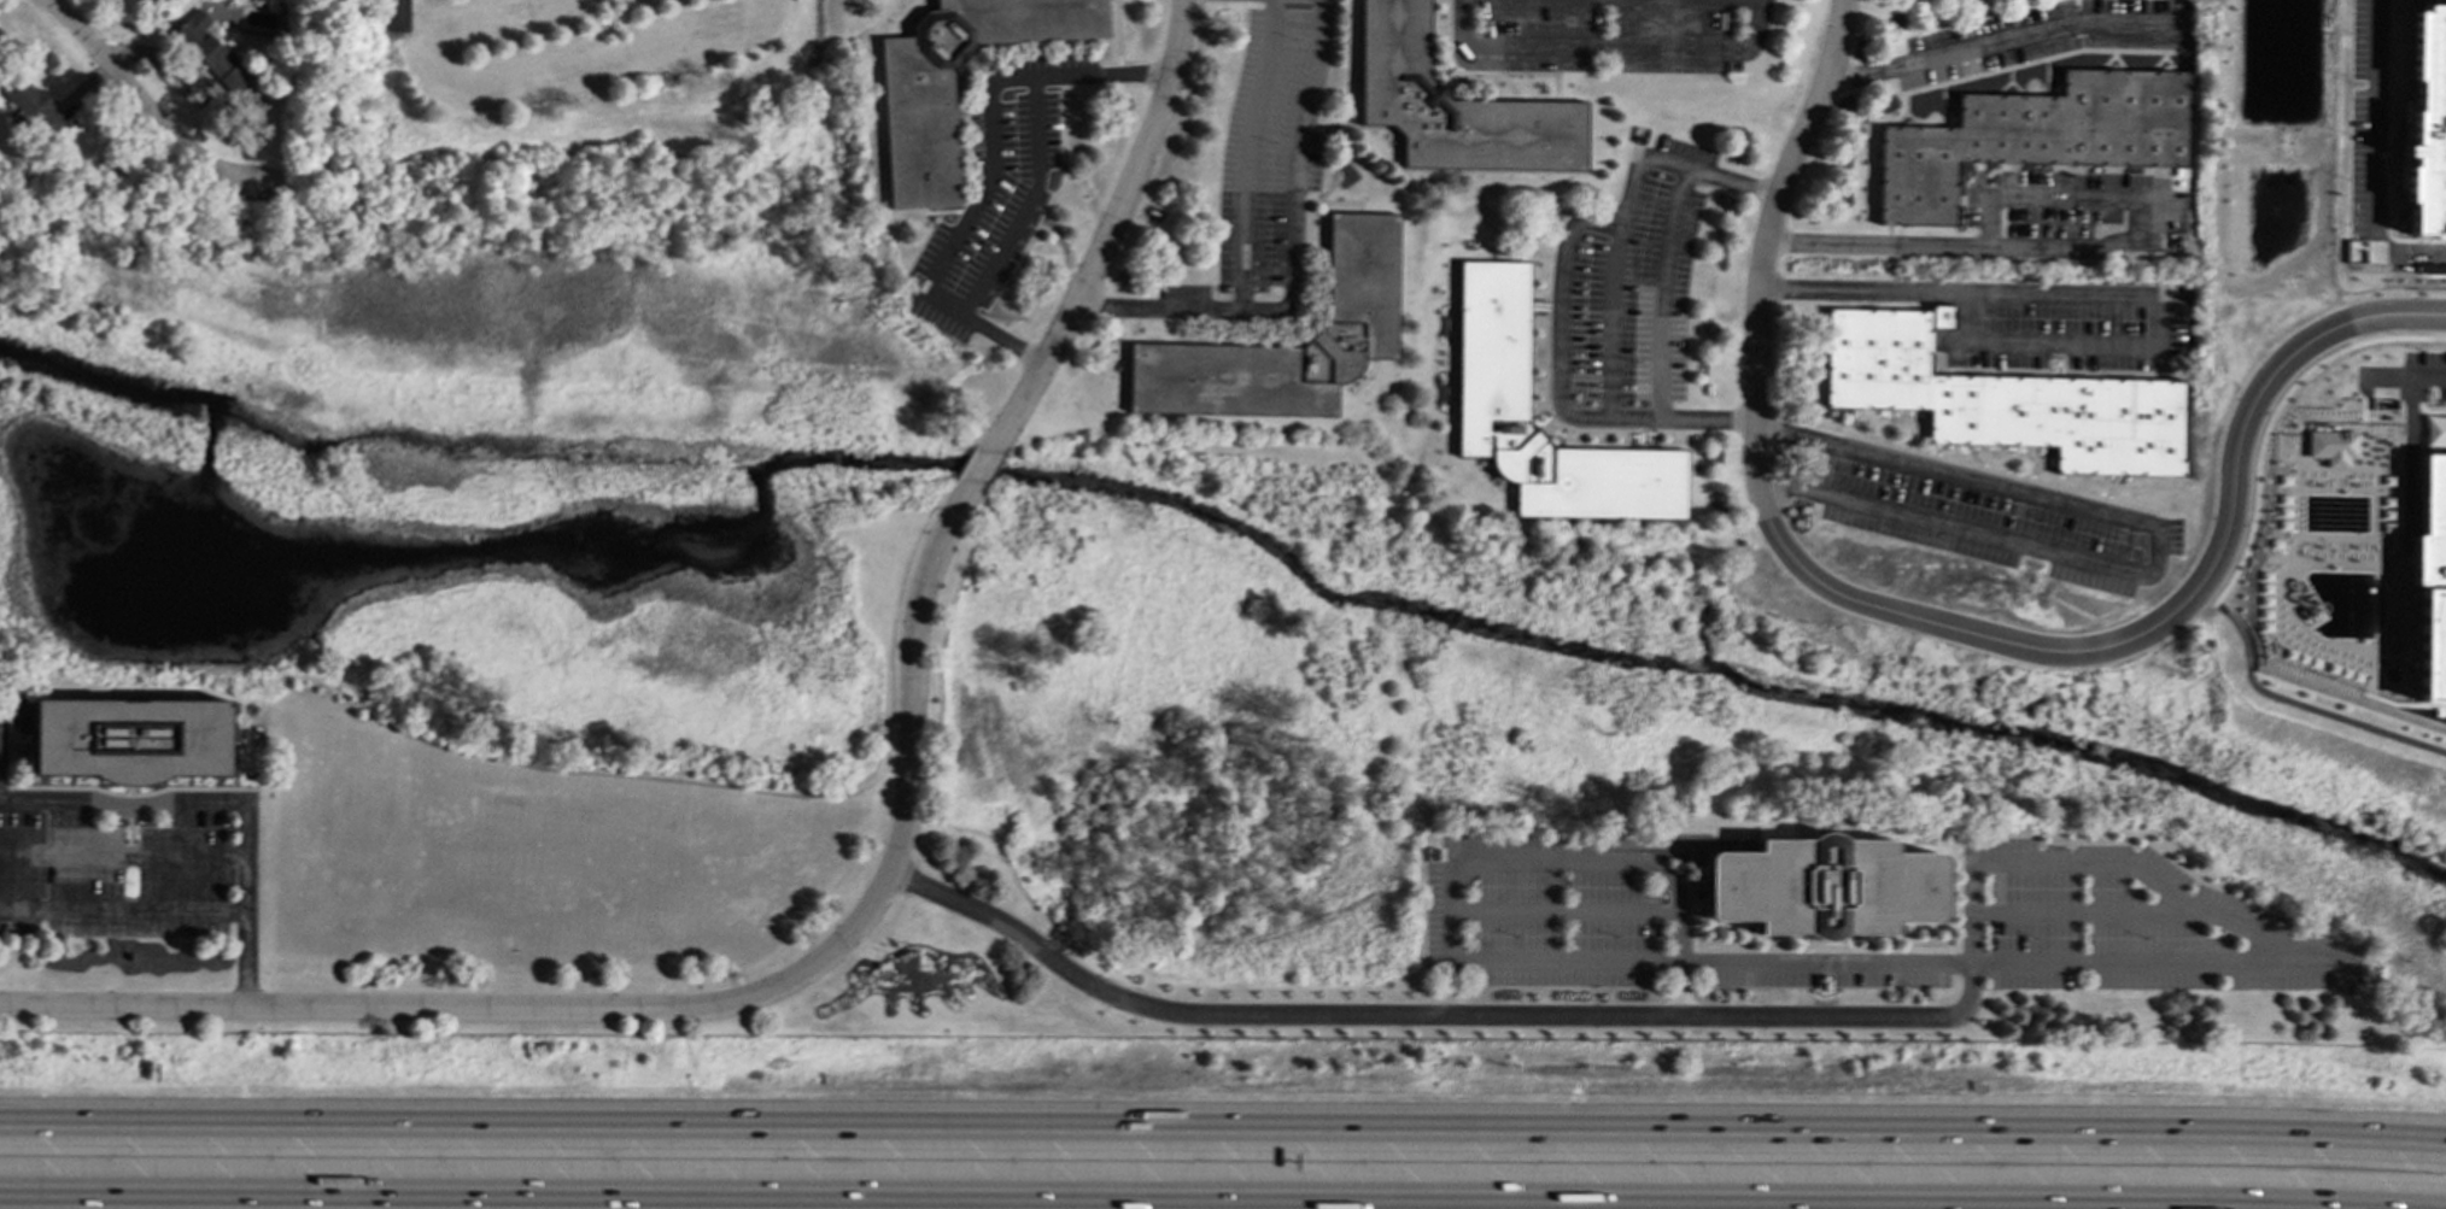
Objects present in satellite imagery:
road: (394, 14)
parking lot: (1607, 35)
parking lot: (2041, 36)
road: (2000, 39)
road: (1605, 47)
building: (211, 53)
building: (1453, 105)
building: (34, 106)
road: (148, 107)
road: (988, 107)
building: (2427, 124)
building: (917, 137)
building: (2035, 137)
road: (1247, 153)
parking lot: (1264, 166)
parking lot: (995, 193)
road: (1026, 204)
parking lot: (2064, 211)
road: (1110, 227)
road: (2088, 247)
road: (1761, 252)
road: (1292, 257)
building: (1360, 268)
road: (1561, 281)
parking lot: (1629, 282)
road: (2394, 290)
road: (1660, 292)
road: (2103, 295)
road: (1610, 323)
parking lot: (2076, 325)
road: (982, 328)
building: (1491, 342)
parking lot: (2428, 370)
road: (2405, 375)
building: (2002, 398)
road: (2427, 411)
road: (2274, 415)
building: (2334, 447)
road: (2410, 454)
road: (983, 466)
parking lot: (1990, 517)
road: (2155, 546)
building: (2430, 577)
road: (2171, 614)
road: (2304, 706)
road: (0, 734)
building: (129, 739)
road: (227, 800)
road: (123, 851)
road: (1551, 858)
building: (1821, 887)
road: (123, 906)
road: (2125, 963)
road: (1679, 988)
road: (667, 1009)
road: (1426, 1015)
road: (1223, 1127)
road: (1207, 1198)

